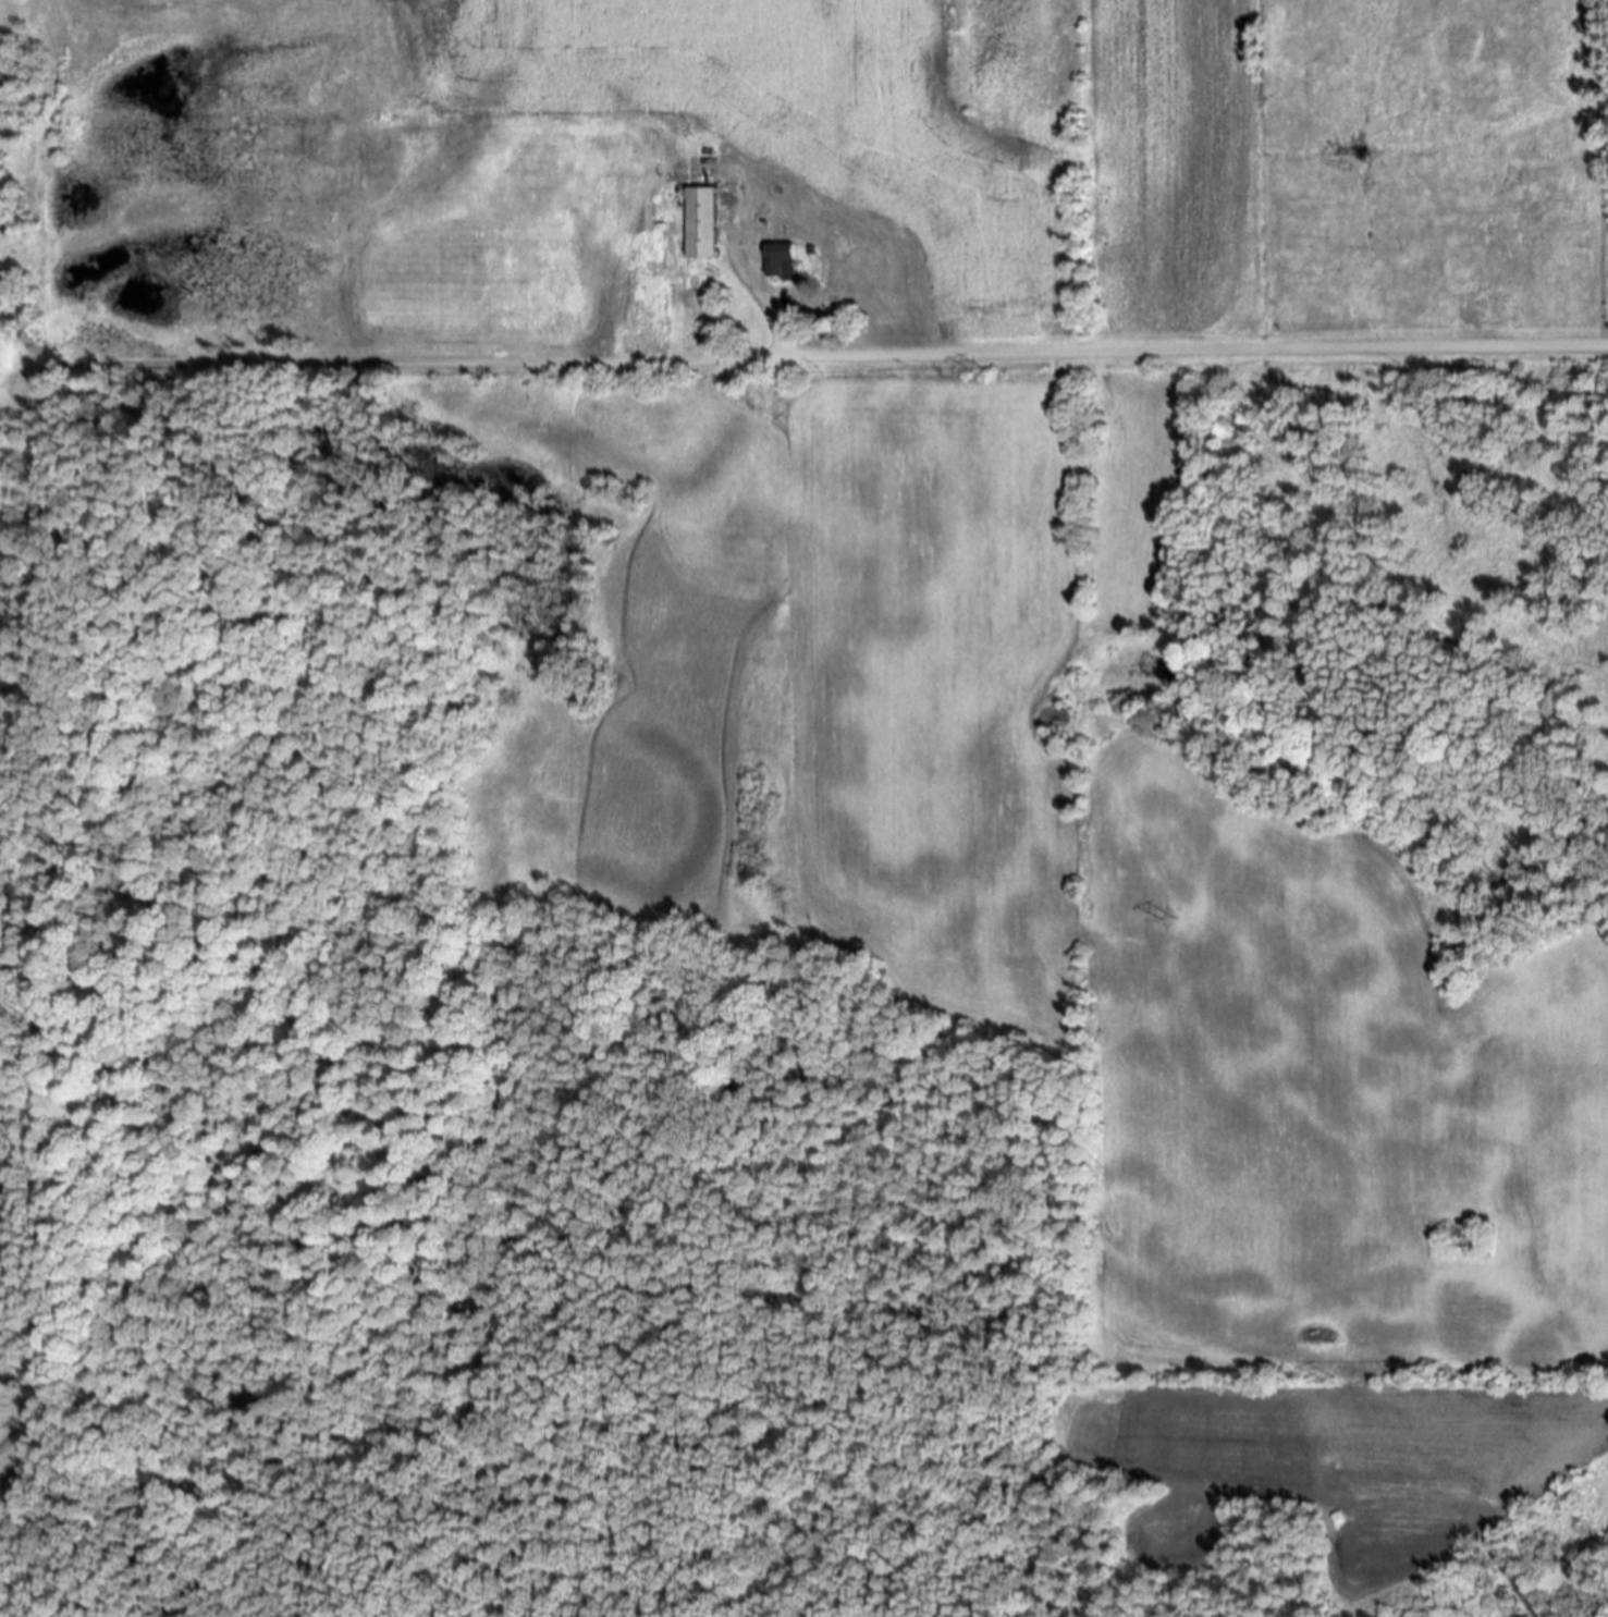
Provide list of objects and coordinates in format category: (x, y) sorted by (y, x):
building: (700, 223)
building: (781, 261)
road: (1195, 348)
road: (361, 364)
power tower: (973, 372)
power tower: (1164, 922)
power tower: (1322, 1381)

